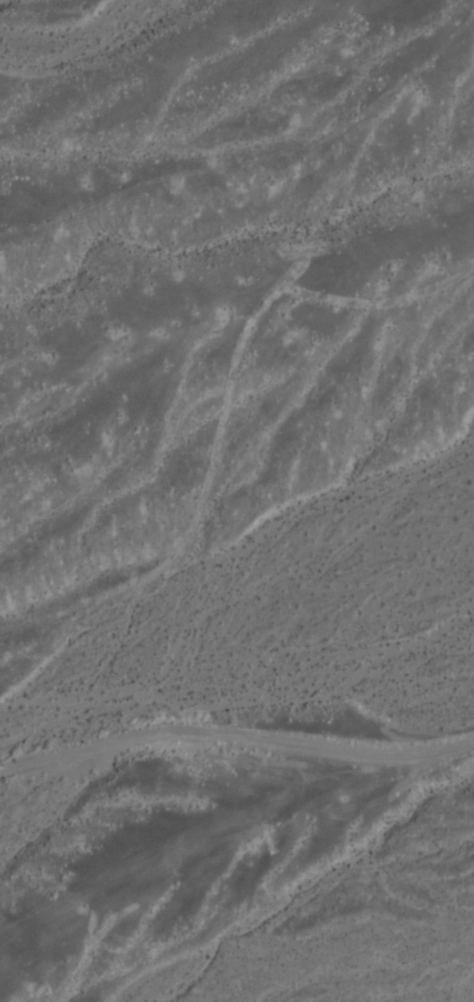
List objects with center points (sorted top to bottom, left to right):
road: (234, 735)

